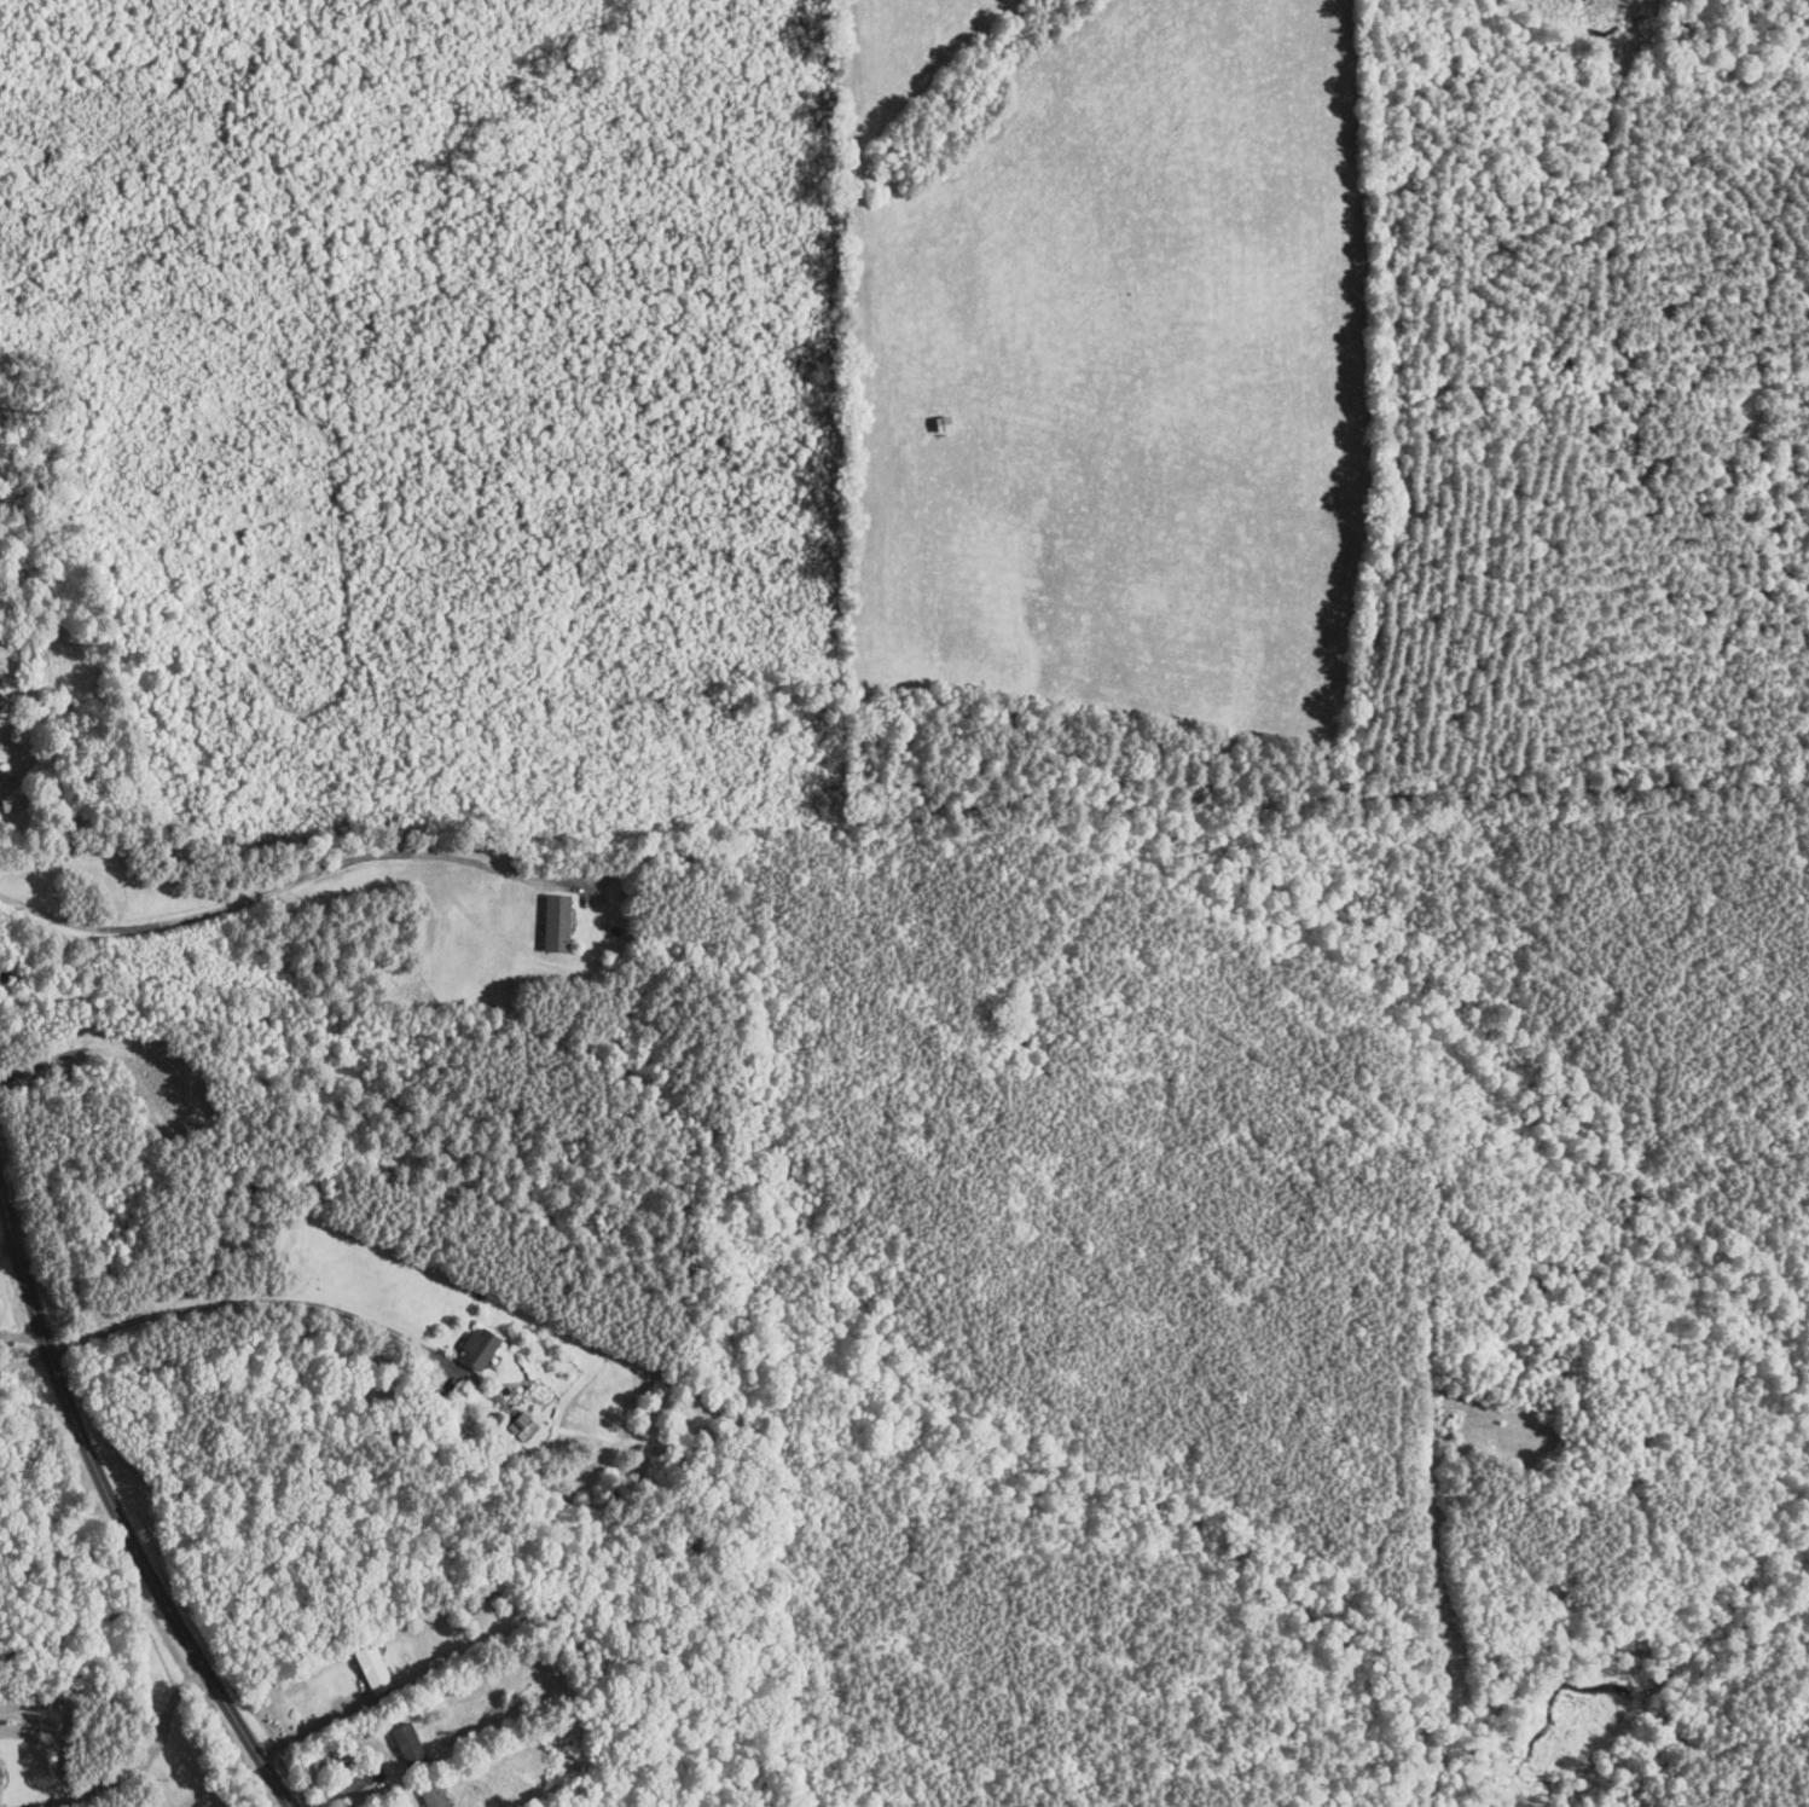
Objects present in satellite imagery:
crop: (912, 48)
crop: (1132, 376)
building: (5, 789)
road: (267, 892)
building: (559, 923)
road: (12, 1249)
road: (261, 1301)
road: (27, 1337)
building: (482, 1349)
road: (28, 1362)
road: (110, 1500)
building: (376, 1669)
road: (308, 1730)
building: (411, 1745)
road: (145, 1760)
building: (1, 1774)
building: (439, 1796)

